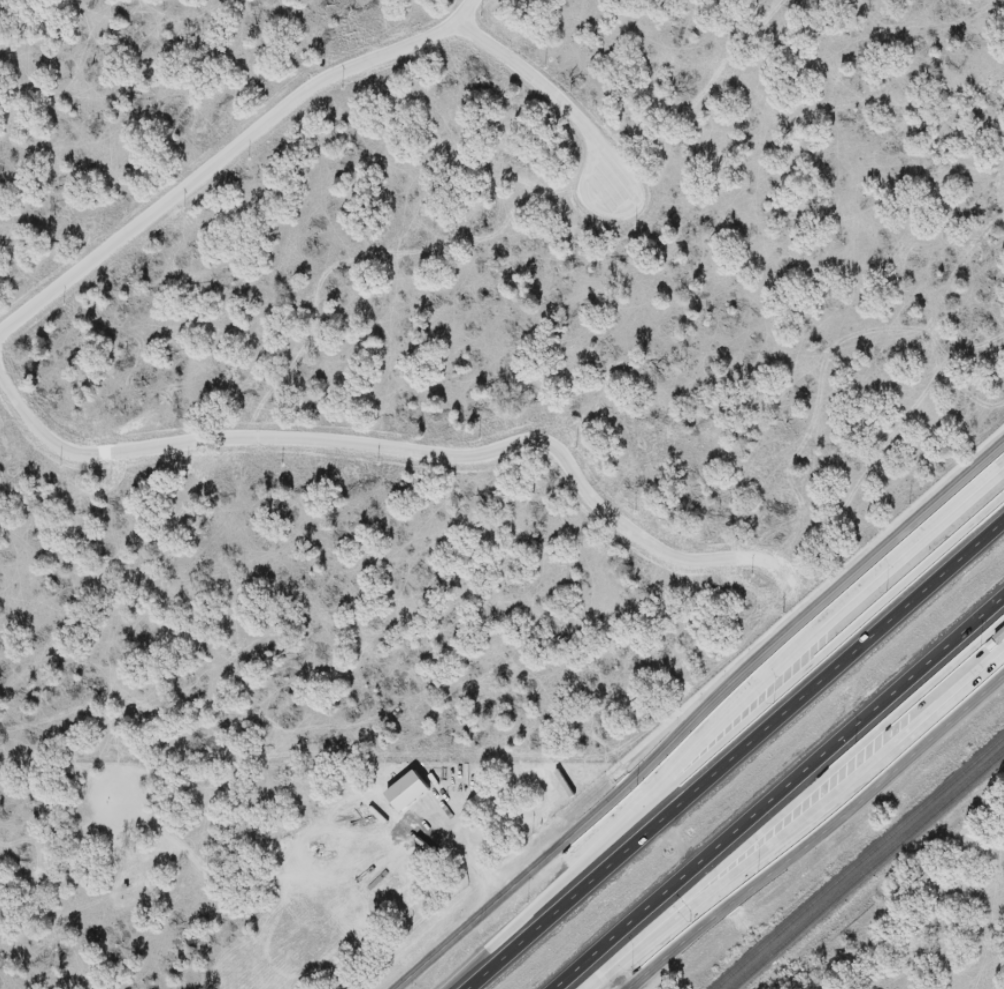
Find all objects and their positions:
road: (857, 650)
road: (736, 678)
road: (908, 681)
building: (914, 726)
road: (838, 819)
railway: (857, 861)
railway: (869, 871)
road: (681, 876)
road: (588, 883)
road: (437, 955)
road: (647, 972)

